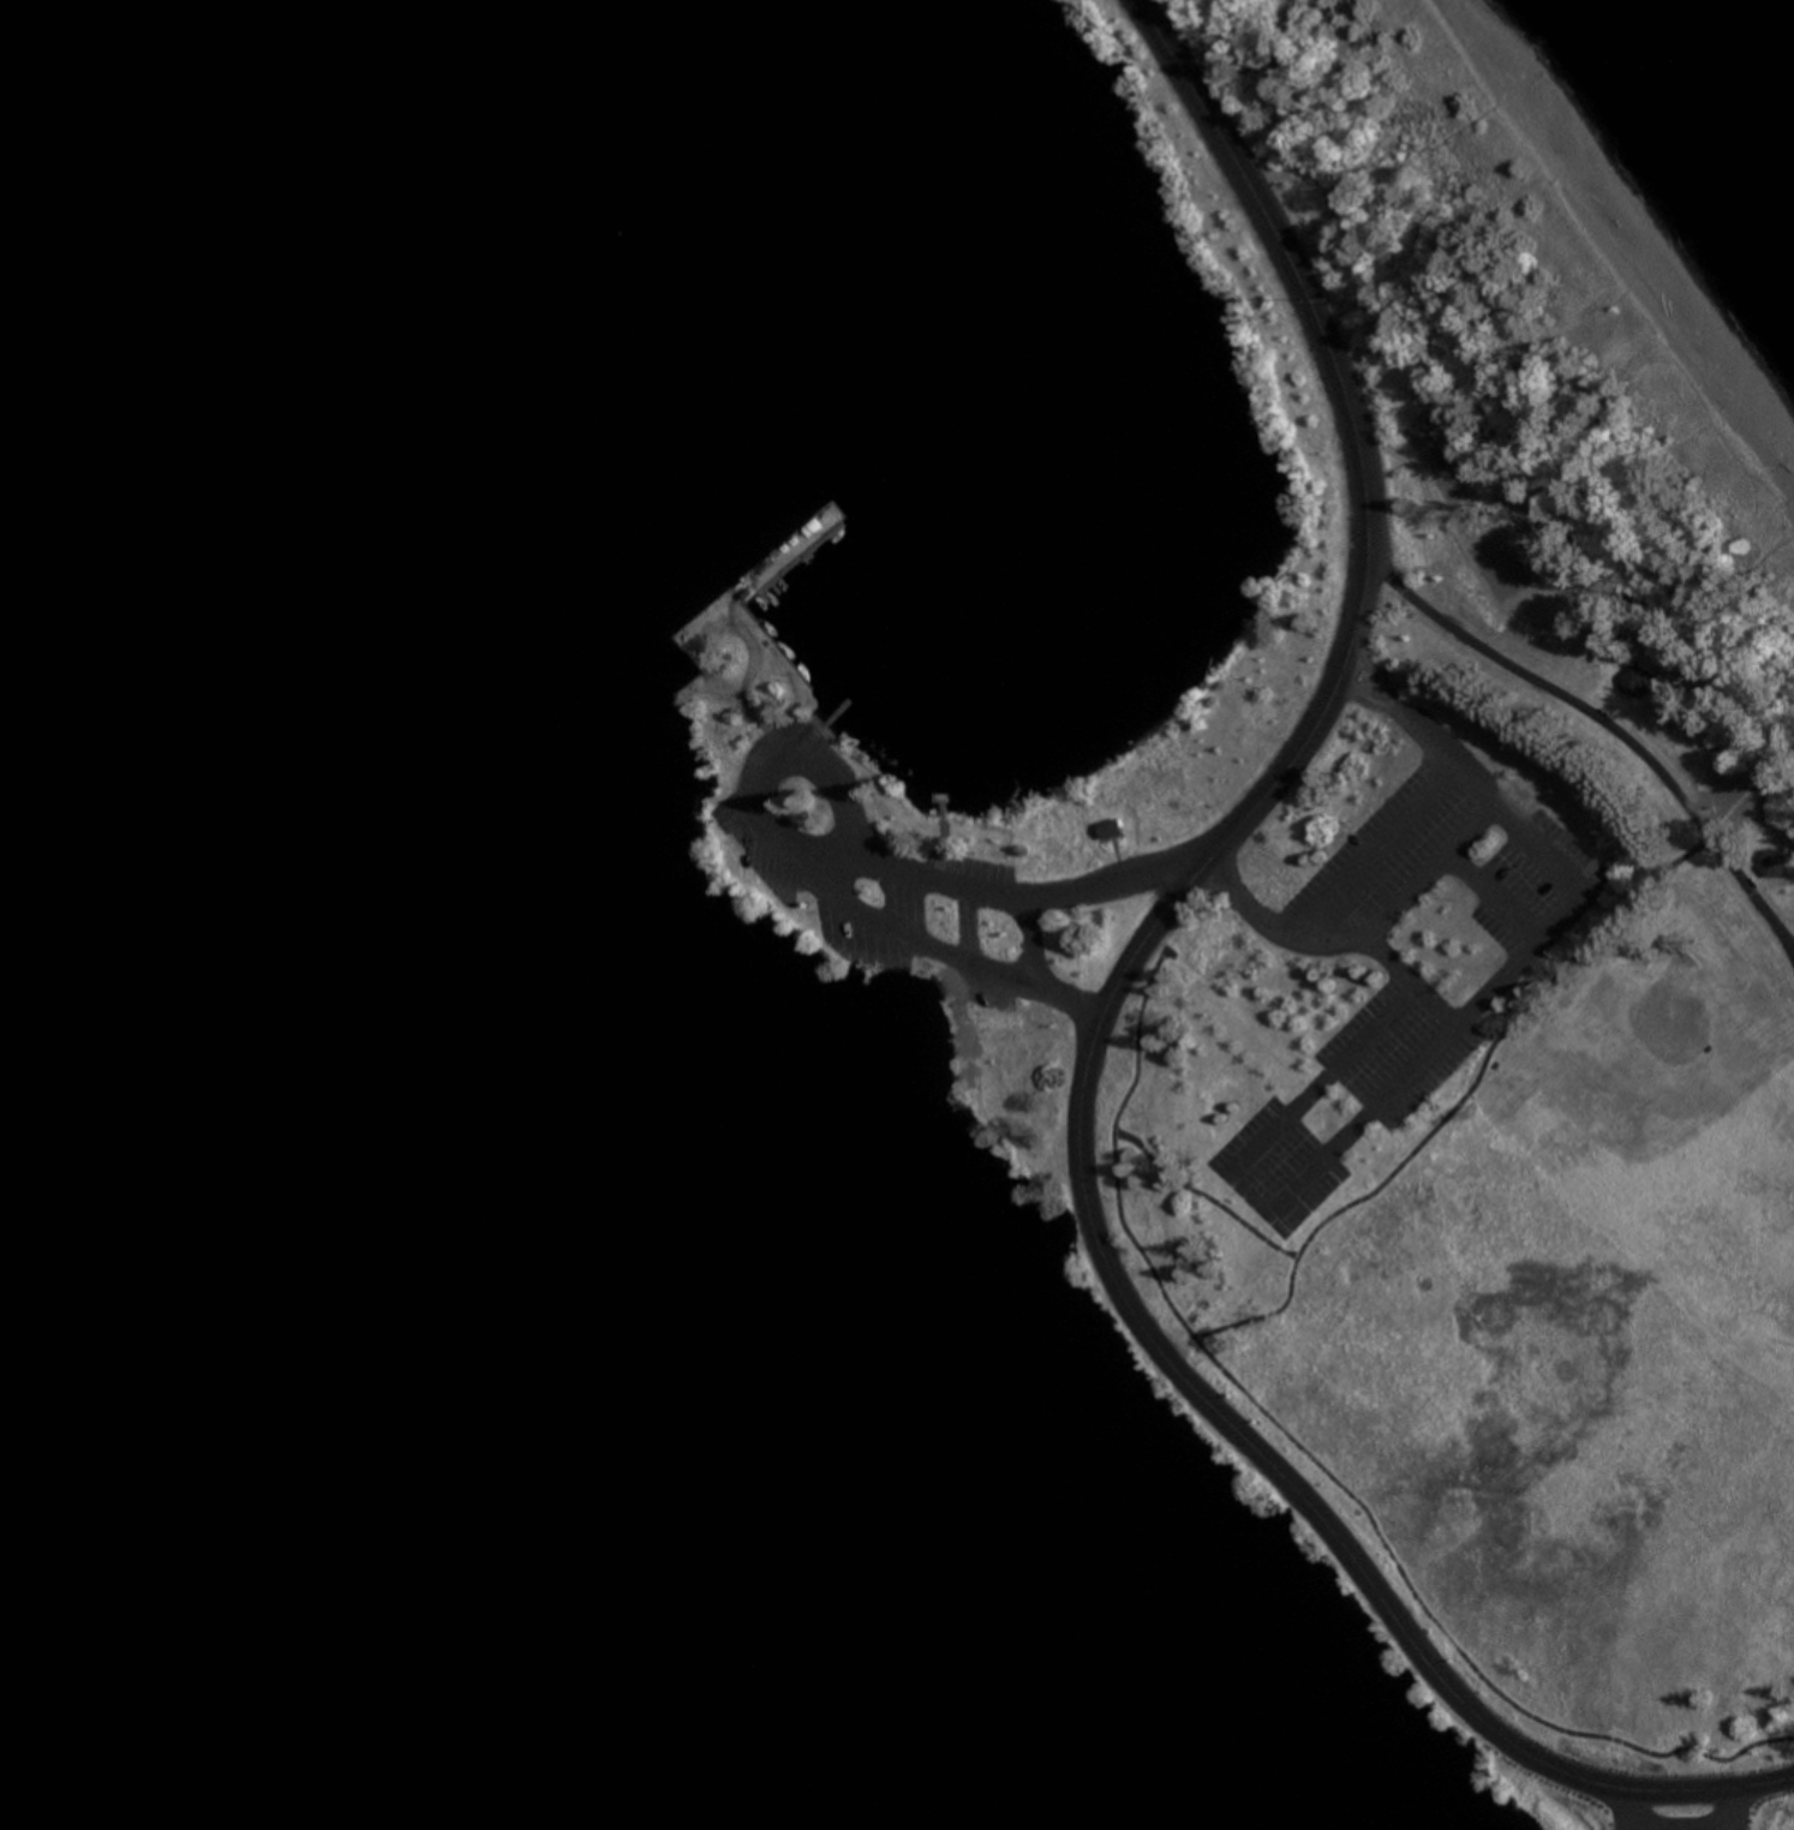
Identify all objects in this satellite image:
road: (1599, 731)
road: (799, 754)
building: (1105, 825)
road: (1365, 844)
parking lot: (754, 848)
parking lot: (1381, 855)
building: (1775, 861)
parking lot: (969, 862)
road: (837, 863)
road: (1422, 865)
parking lot: (1529, 885)
road: (1488, 891)
parking lot: (932, 913)
parking lot: (865, 939)
road: (1023, 940)
road: (1790, 951)
road: (1515, 956)
road: (1790, 961)
parking lot: (979, 989)
building: (989, 991)
road: (1089, 1029)
parking lot: (1385, 1049)
parking lot: (1272, 1164)
road: (1242, 1195)
parking lot: (1679, 1814)
road: (1669, 1825)

